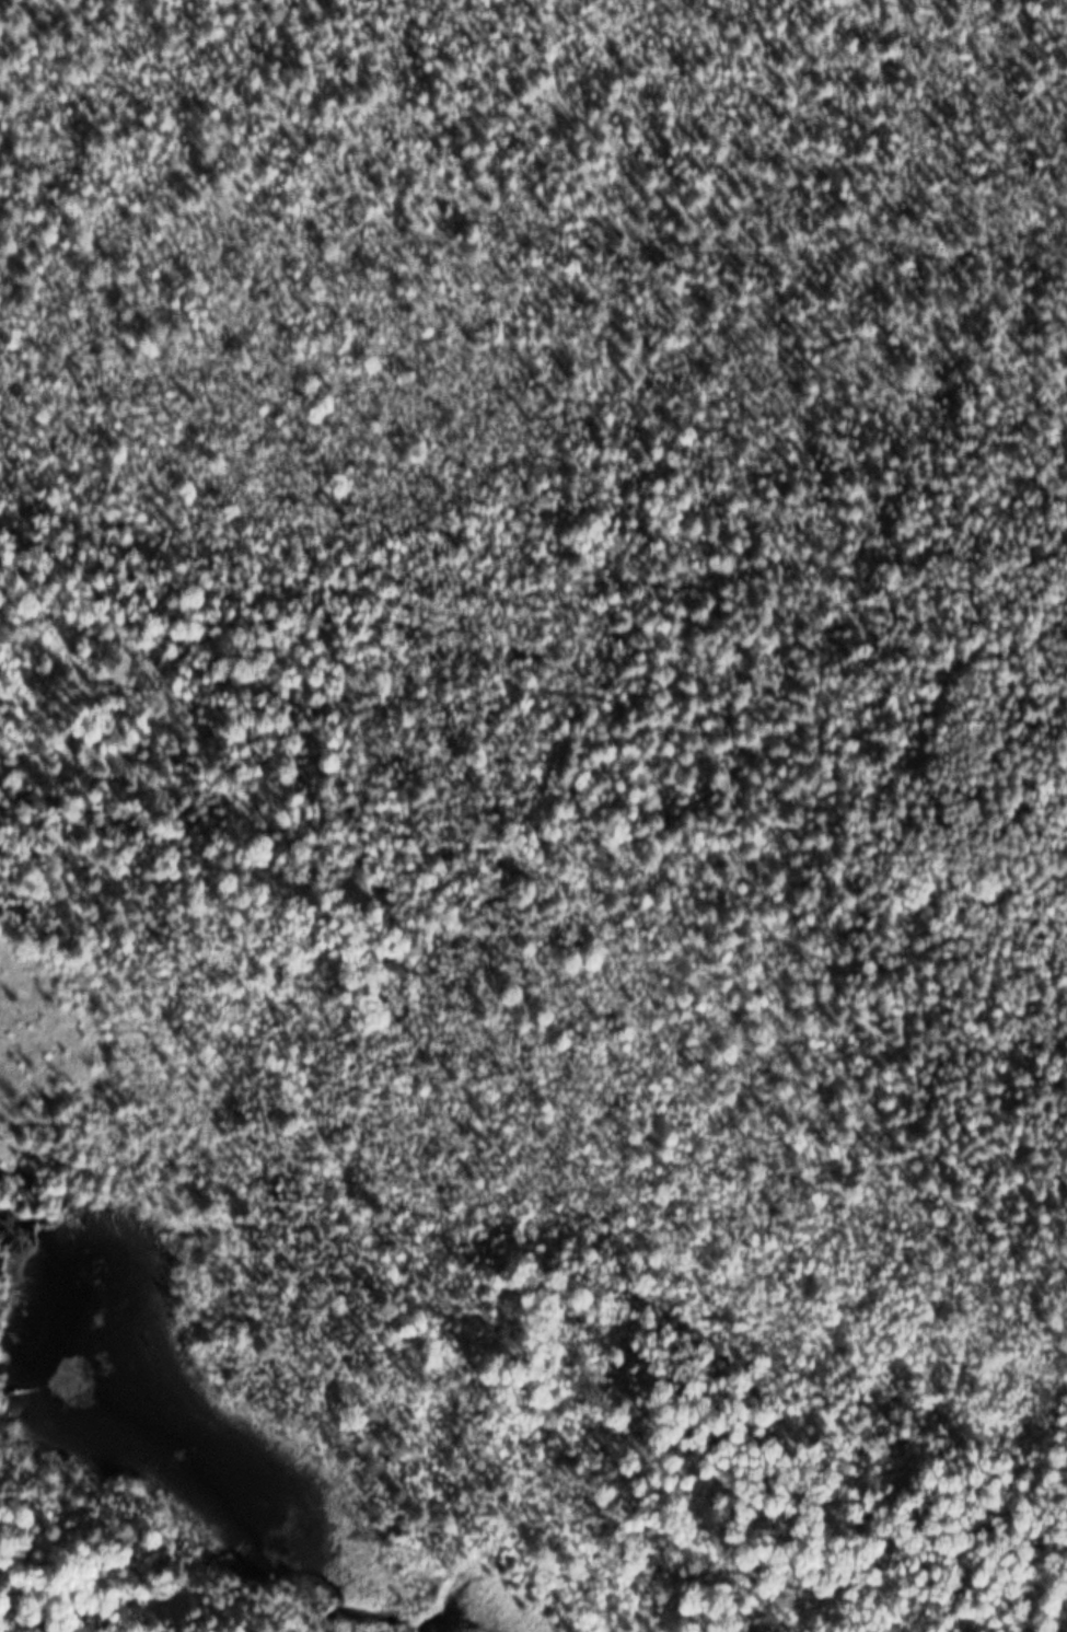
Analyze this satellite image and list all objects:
road: (114, 1598)

